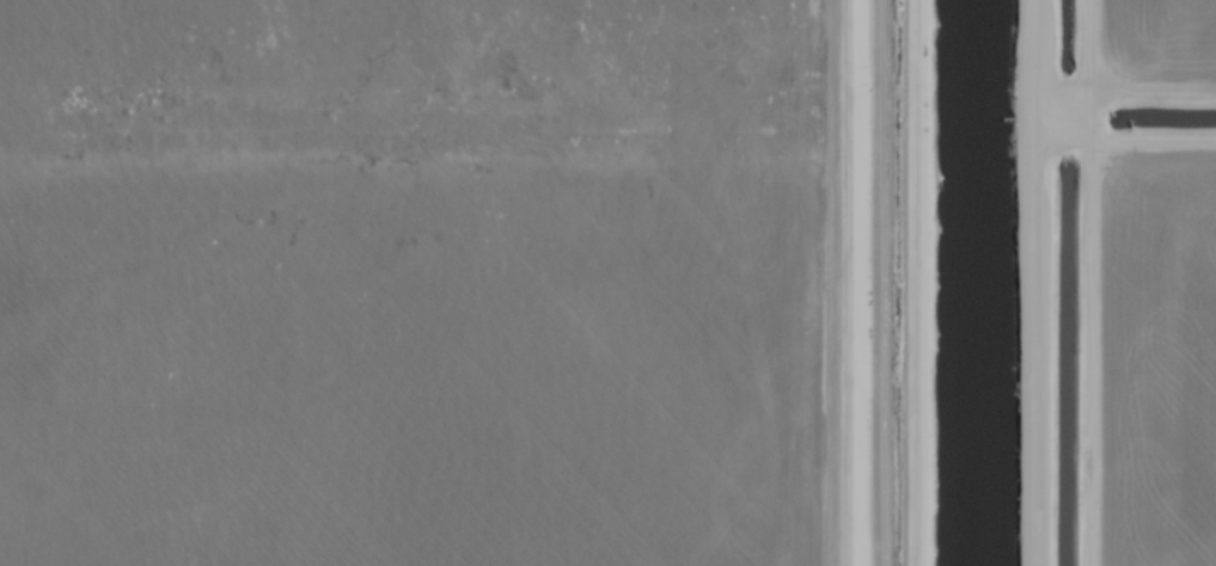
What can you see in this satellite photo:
road: (979, 73)
road: (1125, 143)
road: (1007, 144)
road: (853, 282)
road: (1031, 355)

